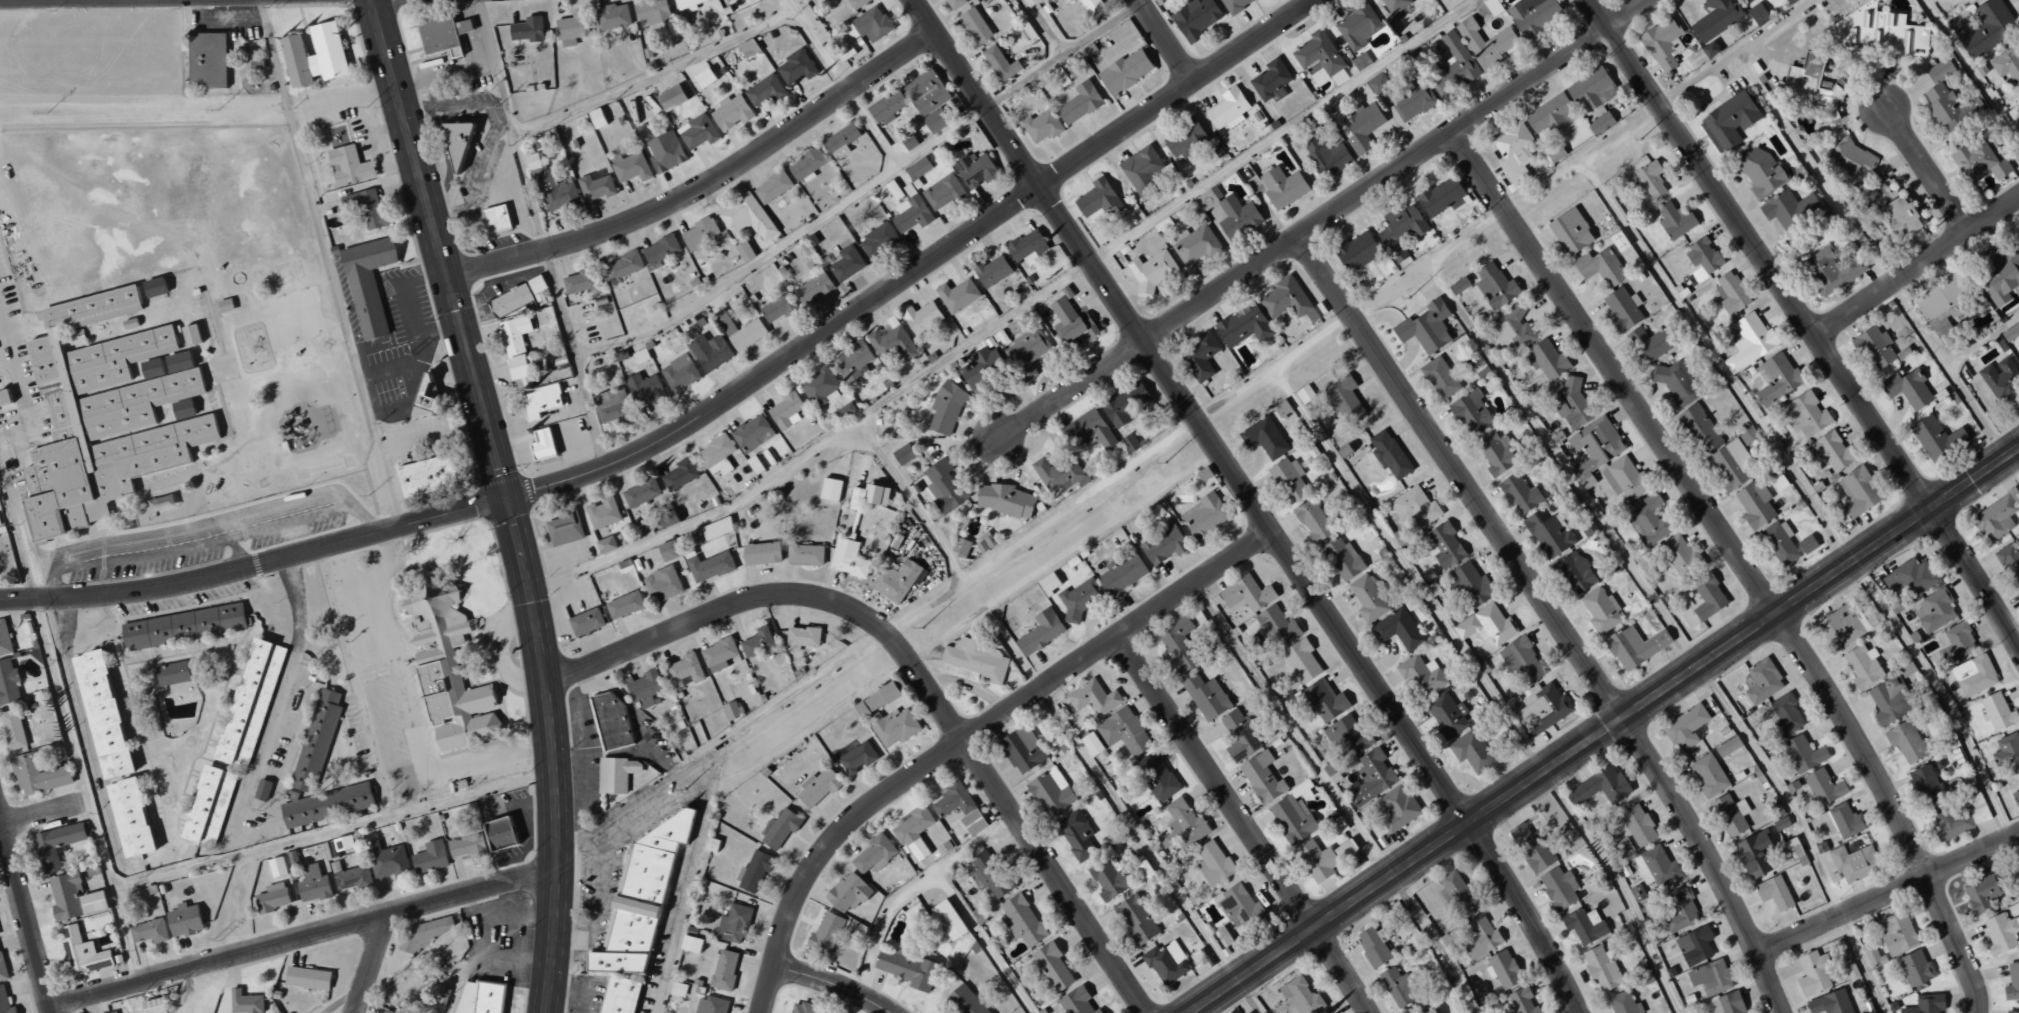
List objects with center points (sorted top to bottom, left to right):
building: (1748, 0)
building: (1791, 1)
building: (856, 3)
building: (954, 3)
building: (687, 4)
building: (1234, 4)
building: (1394, 4)
building: (1492, 7)
building: (1092, 9)
building: (652, 12)
building: (1758, 14)
building: (1533, 15)
building: (612, 16)
building: (1196, 18)
building: (1716, 19)
building: (872, 24)
building: (974, 25)
building: (1359, 25)
road: (1099, 27)
building: (572, 28)
building: (1986, 28)
building: (526, 29)
building: (1880, 31)
building: (442, 32)
road: (1764, 34)
road: (1165, 41)
building: (1486, 43)
building: (1662, 43)
road: (816, 45)
building: (747, 47)
building: (1701, 55)
building: (316, 56)
building: (1320, 59)
building: (205, 60)
building: (255, 60)
building: (1360, 61)
road: (1046, 62)
building: (1000, 63)
building: (2007, 64)
building: (1453, 65)
building: (794, 67)
building: (1124, 72)
road: (654, 76)
road: (1725, 76)
building: (703, 77)
building: (1058, 78)
building: (1271, 80)
building: (1815, 82)
building: (1592, 90)
building: (763, 91)
building: (670, 97)
building: (928, 99)
building: (1948, 100)
building: (1079, 103)
power tower: (499, 104)
building: (1412, 105)
power tower: (366, 107)
building: (885, 107)
power tower: (217, 108)
building: (1227, 109)
power tower: (47, 112)
building: (730, 112)
building: (1551, 114)
building: (596, 118)
building: (1729, 121)
building: (1600, 123)
road: (510, 125)
building: (1042, 125)
building: (1361, 127)
building: (697, 131)
power tower: (1640, 138)
building: (459, 140)
building: (1185, 140)
building: (840, 141)
building: (665, 151)
building: (1513, 152)
building: (1554, 153)
building: (1325, 155)
road: (1582, 157)
building: (1852, 158)
building: (532, 161)
building: (349, 164)
building: (806, 165)
building: (631, 167)
building: (917, 168)
building: (975, 169)
building: (1142, 170)
building: (1760, 172)
road: (1927, 172)
building: (1650, 180)
road: (708, 183)
building: (596, 185)
building: (772, 187)
building: (1282, 187)
building: (893, 189)
building: (943, 192)
building: (1440, 196)
building: (1097, 200)
building: (369, 207)
road: (435, 209)
building: (1788, 209)
building: (1898, 212)
building: (911, 213)
building: (497, 217)
building: (747, 217)
building: (1237, 217)
power tower: (460, 218)
road: (1320, 221)
building: (1673, 221)
building: (1401, 231)
building: (1569, 231)
building: (699, 233)
building: (878, 240)
building: (1196, 245)
building: (1026, 247)
building: (336, 248)
building: (661, 250)
building: (744, 251)
building: (1357, 252)
building: (1703, 255)
road: (1428, 262)
road: (328, 264)
building: (846, 264)
building: (623, 266)
building: (1600, 267)
road: (1917, 267)
building: (1832, 270)
building: (991, 271)
building: (1152, 271)
building: (2000, 279)
building: (581, 281)
building: (370, 282)
building: (1496, 286)
building: (153, 287)
building: (812, 288)
building: (1732, 293)
building: (957, 295)
building: (521, 296)
power tower: (1408, 298)
building: (1287, 300)
building: (777, 307)
building: (1945, 307)
building: (1623, 308)
building: (923, 318)
building: (1071, 322)
building: (1243, 326)
building: (1425, 327)
road: (1808, 327)
building: (1513, 328)
building: (743, 332)
building: (2011, 332)
building: (190, 334)
building: (1750, 342)
building: (1651, 343)
building: (894, 344)
building: (1873, 346)
building: (526, 351)
building: (710, 351)
power tower: (416, 353)
building: (1027, 353)
building: (639, 356)
building: (1203, 356)
building: (1547, 359)
road: (1716, 360)
building: (853, 362)
building: (982, 368)
building: (679, 372)
building: (1440, 377)
building: (2000, 378)
building: (1776, 379)
building: (1678, 381)
building: (821, 387)
building: (1908, 388)
building: (647, 389)
building: (1304, 394)
building: (4, 397)
building: (429, 398)
building: (1345, 398)
building: (543, 399)
building: (1126, 405)
building: (1573, 405)
building: (108, 408)
building: (613, 408)
building: (945, 408)
building: (1281, 408)
building: (786, 410)
building: (1471, 412)
road: (704, 413)
building: (1806, 414)
building: (1700, 428)
building: (752, 433)
road: (435, 436)
building: (1089, 436)
building: (1749, 436)
building: (1264, 438)
building: (1936, 438)
building: (1129, 443)
building: (544, 445)
building: (1595, 448)
building: (1342, 451)
building: (1831, 452)
building: (1388, 453)
building: (903, 454)
building: (1497, 454)
building: (716, 455)
road: (500, 459)
power tower: (1164, 463)
building: (1731, 464)
building: (754, 465)
road: (1563, 465)
road: (781, 472)
building: (428, 473)
building: (1056, 473)
building: (680, 474)
building: (1203, 474)
building: (1084, 477)
building: (1625, 478)
building: (1288, 479)
building: (734, 480)
building: (1780, 483)
building: (942, 486)
building: (829, 489)
building: (1858, 491)
building: (640, 492)
building: (1520, 493)
power tower: (369, 494)
building: (867, 496)
traffic signals: (510, 498)
building: (1005, 500)
road: (1252, 502)
building: (1756, 504)
building: (1415, 507)
building: (603, 512)
building: (1203, 515)
building: (1995, 517)
building: (1313, 520)
building: (1649, 520)
building: (0, 524)
road: (1040, 526)
building: (565, 527)
building: (716, 528)
road: (517, 530)
building: (1549, 534)
building: (895, 540)
road: (17, 541)
building: (687, 541)
road: (208, 542)
building: (1780, 542)
building: (605, 544)
building: (1807, 544)
building: (1162, 545)
building: (1446, 545)
building: (960, 547)
building: (761, 553)
road: (236, 554)
building: (805, 554)
building: (1681, 555)
building: (847, 558)
building: (1342, 559)
road: (1740, 559)
building: (2010, 561)
building: (709, 566)
building: (1576, 573)
building: (1121, 576)
building: (1911, 577)
building: (895, 580)
building: (1048, 583)
building: (662, 584)
building: (1472, 585)
building: (2018, 590)
building: (1245, 594)
building: (1079, 598)
building: (1369, 598)
building: (1708, 598)
building: (624, 605)
building: (1601, 610)
building: (1934, 610)
road: (1555, 615)
building: (587, 621)
building: (1276, 625)
building: (1487, 625)
building: (183, 626)
building: (1841, 626)
power tower: (921, 628)
building: (1398, 630)
building: (1040, 632)
building: (4, 638)
building: (801, 638)
building: (1956, 641)
building: (757, 642)
building: (1177, 643)
building: (1635, 646)
building: (717, 654)
building: (977, 659)
building: (1301, 660)
building: (1521, 660)
power tower: (312, 665)
building: (1863, 666)
building: (446, 667)
building: (1908, 669)
building: (683, 670)
road: (914, 671)
building: (172, 673)
building: (1423, 675)
building: (1974, 675)
building: (8, 682)
road: (356, 682)
building: (1763, 682)
building: (644, 688)
building: (1206, 696)
building: (1092, 697)
building: (875, 699)
building: (1325, 700)
building: (1890, 700)
building: (249, 702)
road: (278, 702)
building: (1545, 705)
building: (730, 709)
building: (1997, 712)
building: (100, 713)
building: (1446, 713)
building: (1786, 714)
building: (613, 721)
building: (893, 726)
building: (1685, 727)
building: (13, 729)
building: (1124, 730)
road: (1605, 731)
building: (1344, 734)
road: (972, 735)
road: (85, 736)
building: (1239, 736)
building: (316, 738)
building: (1906, 741)
building: (1090, 743)
building: (1727, 746)
building: (1022, 749)
building: (1477, 752)
building: (2007, 752)
building: (1804, 753)
building: (857, 758)
road: (292, 763)
building: (617, 774)
building: (38, 775)
building: (1708, 775)
building: (1261, 777)
building: (1157, 778)
building: (1371, 778)
building: (1925, 783)
road: (553, 787)
building: (817, 787)
building: (1598, 787)
building: (1823, 787)
building: (263, 789)
power tower: (684, 790)
building: (1050, 791)
building: (2015, 797)
building: (208, 805)
building: (326, 806)
building: (958, 807)
building: (1398, 808)
power tower: (263, 810)
road: (42, 813)
building: (1293, 814)
building: (1729, 815)
building: (128, 817)
building: (1960, 818)
road: (1, 821)
building: (1841, 821)
building: (1185, 823)
building: (1781, 823)
road: (1, 825)
building: (912, 825)
road: (1245, 825)
building: (1338, 825)
building: (1638, 825)
building: (781, 827)
building: (502, 832)
building: (1076, 834)
building: (56, 842)
building: (342, 843)
building: (710, 845)
building: (467, 846)
building: (1532, 847)
building: (1344, 849)
road: (2014, 849)
building: (1795, 850)
road: (1149, 852)
building: (873, 854)
building: (1753, 854)
building: (430, 856)
building: (1316, 860)
building: (390, 862)
building: (1214, 863)
building: (1851, 863)
building: (277, 866)
building: (1656, 866)
road: (192, 869)
building: (755, 870)
building: (1145, 871)
building: (991, 874)
building: (351, 876)
building: (1107, 879)
building: (313, 883)
building: (1558, 887)
road: (1619, 888)
building: (847, 892)
building: (1456, 893)
building: (1774, 893)
road: (1887, 893)
building: (1980, 893)
road: (906, 894)
building: (72, 897)
building: (272, 897)
building: (642, 898)
building: (1239, 905)
building: (1680, 910)
road: (26, 918)
building: (947, 919)
building: (1021, 919)
building: (1135, 919)
building: (183, 920)
building: (733, 923)
building: (1584, 925)
building: (149, 931)
building: (426, 931)
building: (824, 933)
building: (1897, 933)
building: (2001, 933)
road: (301, 938)
building: (1479, 938)
power tower: (220, 941)
road: (1437, 942)
building: (690, 943)
building: (1373, 945)
building: (1695, 945)
building: (82, 950)
building: (1873, 957)
building: (1166, 963)
road: (371, 964)
building: (3, 965)
building: (1052, 966)
building: (907, 968)
building: (1601, 968)
building: (1914, 968)
building: (722, 969)
building: (1503, 969)
power tower: (419, 970)
building: (1814, 973)
building: (306, 977)
building: (1711, 977)
building: (2012, 981)
road: (833, 984)
building: (1397, 987)
building: (677, 989)
road: (571, 994)
building: (962, 994)
building: (1300, 995)
building: (622, 996)
building: (478, 997)
building: (5, 1000)
road: (340, 1001)
building: (1522, 1001)
building: (244, 1002)
building: (1727, 1003)
building: (1830, 1003)
building: (1926, 1004)
building: (151, 1005)
building: (711, 1005)
building: (799, 1007)
building: (1427, 1011)
building: (20, 1012)
building: (113, 1012)
building: (385, 1012)
building: (1249, 1012)
building: (2009, 1012)

